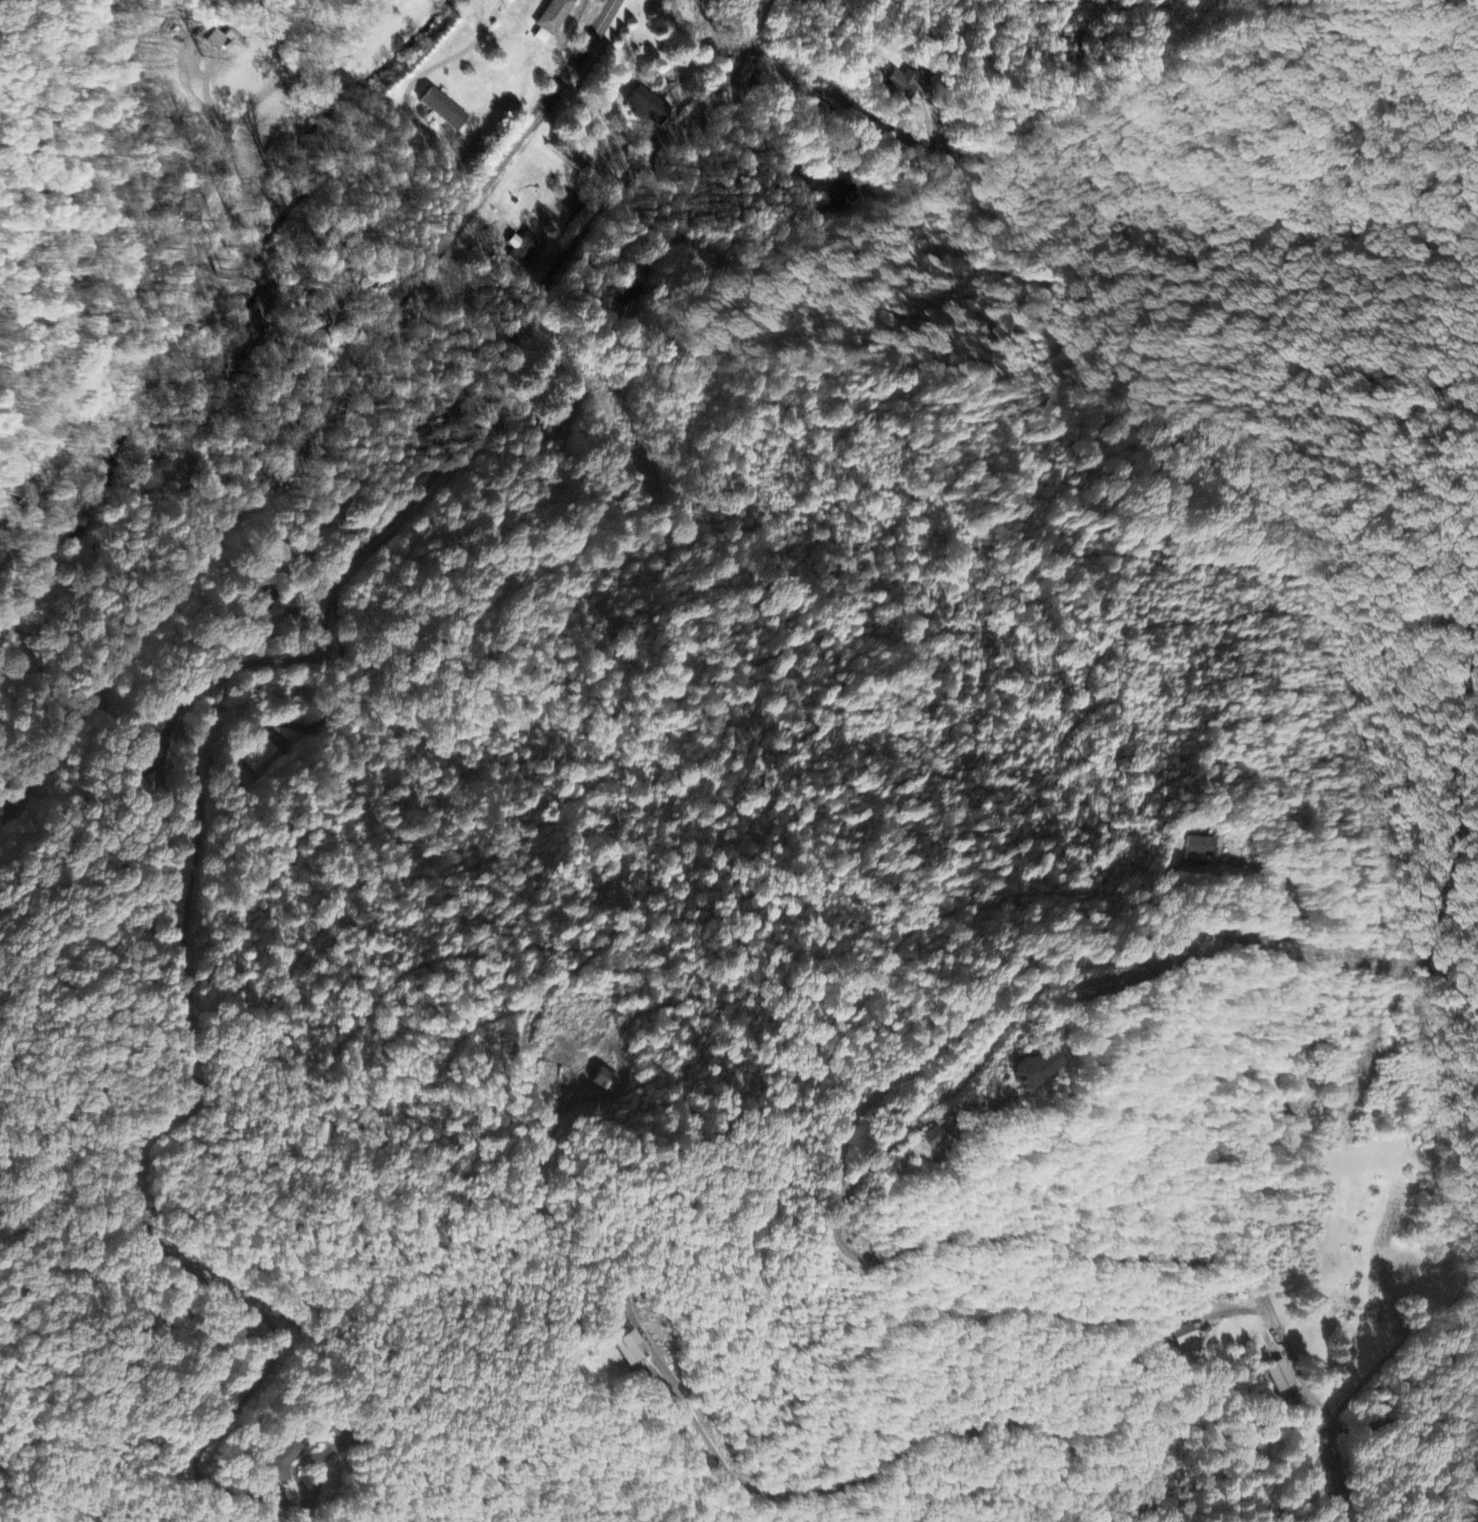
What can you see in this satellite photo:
building: (551, 20)
building: (901, 85)
building: (646, 108)
building: (442, 110)
road: (880, 128)
building: (525, 251)
road: (167, 302)
road: (489, 403)
railway: (310, 408)
building: (263, 758)
building: (1198, 847)
building: (1027, 1067)
building: (604, 1081)
building: (927, 1138)
road: (137, 1207)
building: (628, 1348)
building: (1277, 1376)
road: (1325, 1413)
building: (279, 1461)
road: (1460, 1512)

